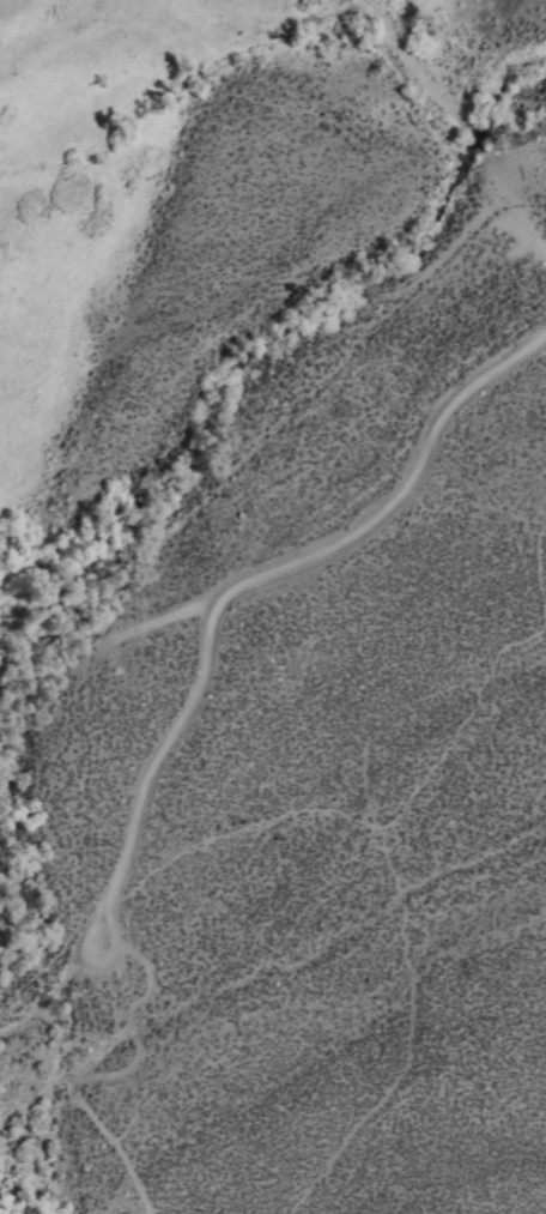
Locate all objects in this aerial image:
road: (439, 111)
road: (533, 237)
road: (253, 584)
road: (54, 991)
road: (77, 1061)

